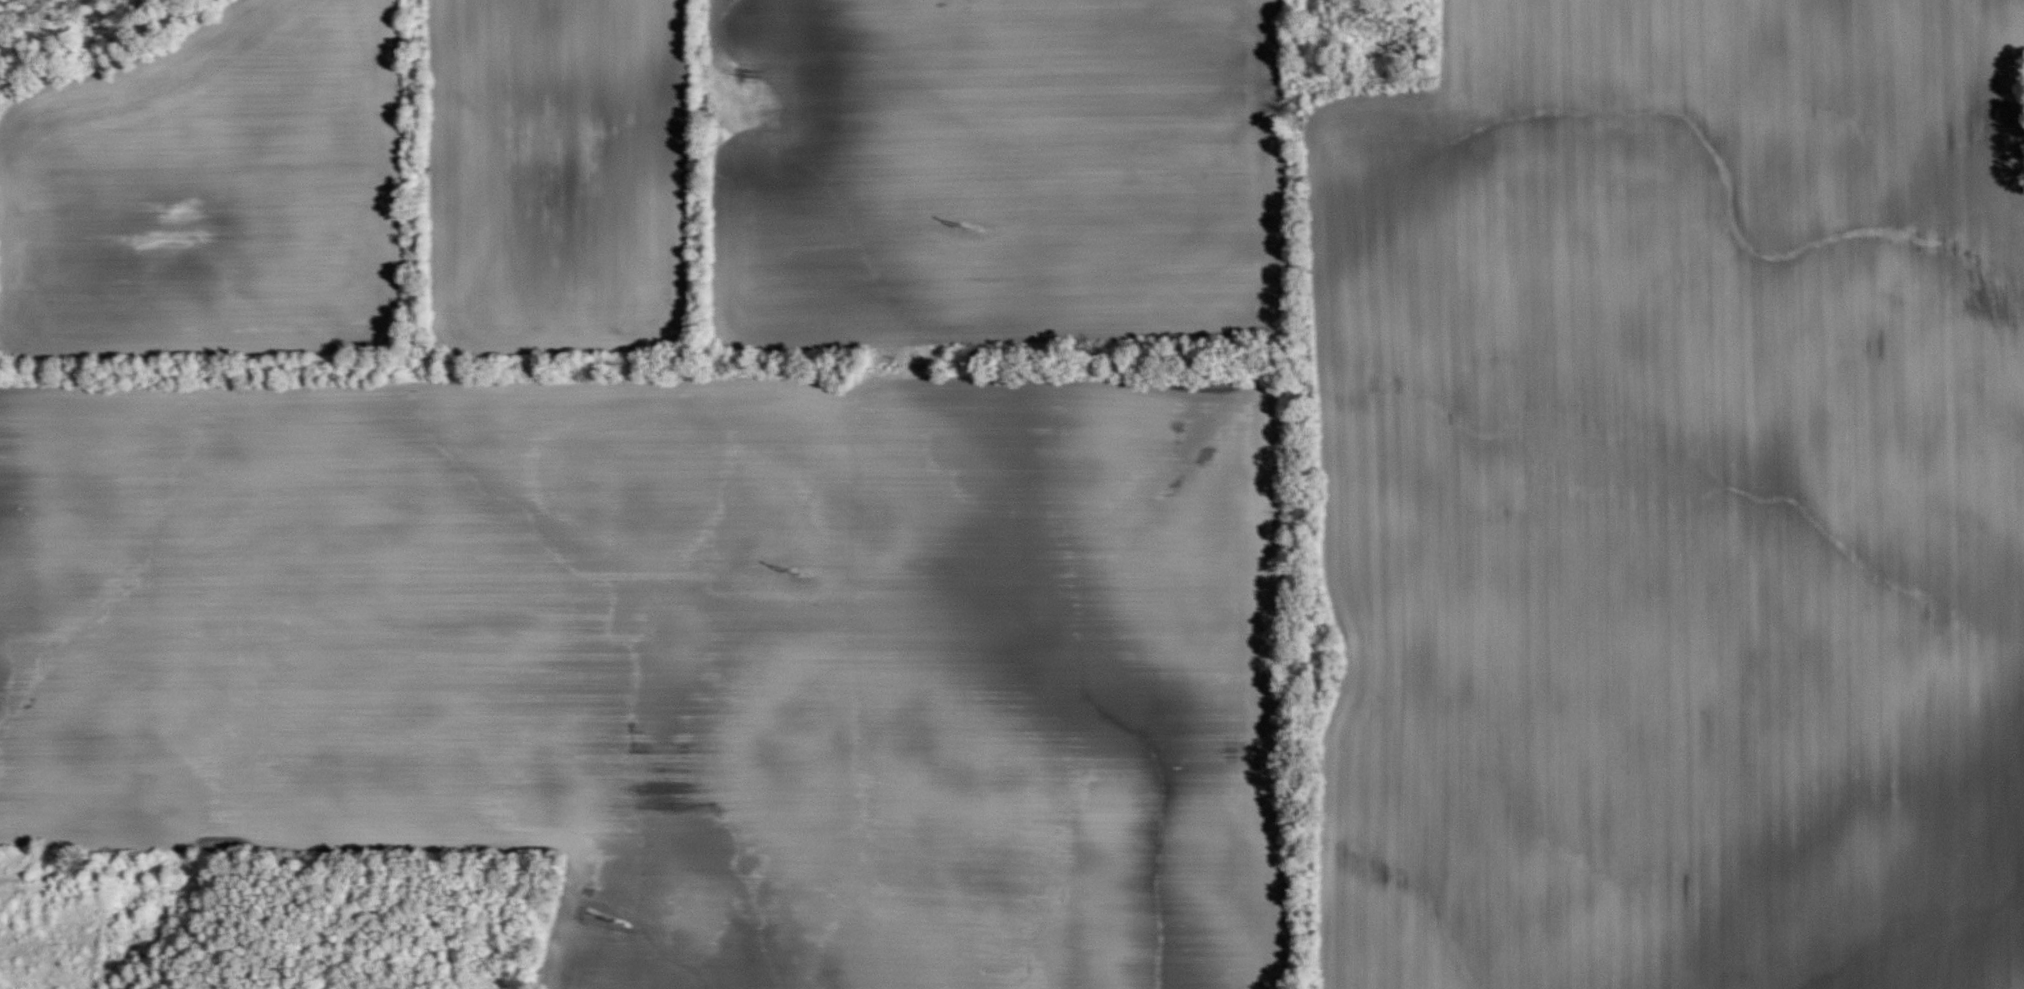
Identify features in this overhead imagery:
power tower: (960, 233)
power tower: (805, 571)
power tower: (627, 941)

